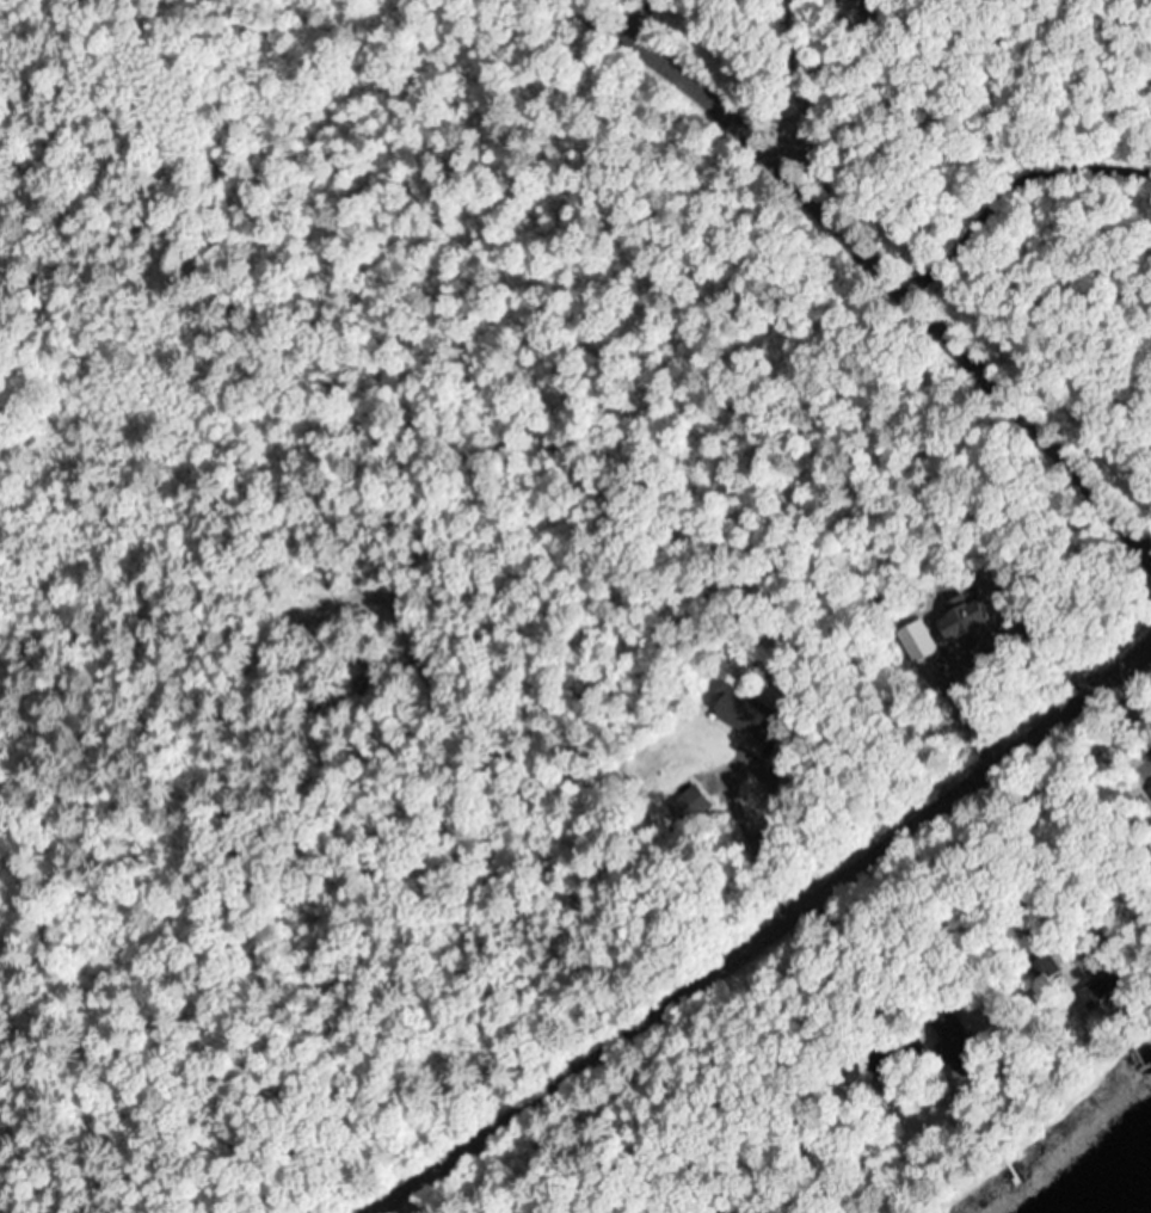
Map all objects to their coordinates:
road: (1008, 190)
road: (881, 269)
building: (761, 708)
road: (753, 926)
building: (1042, 965)
building: (1095, 992)
building: (950, 1040)

